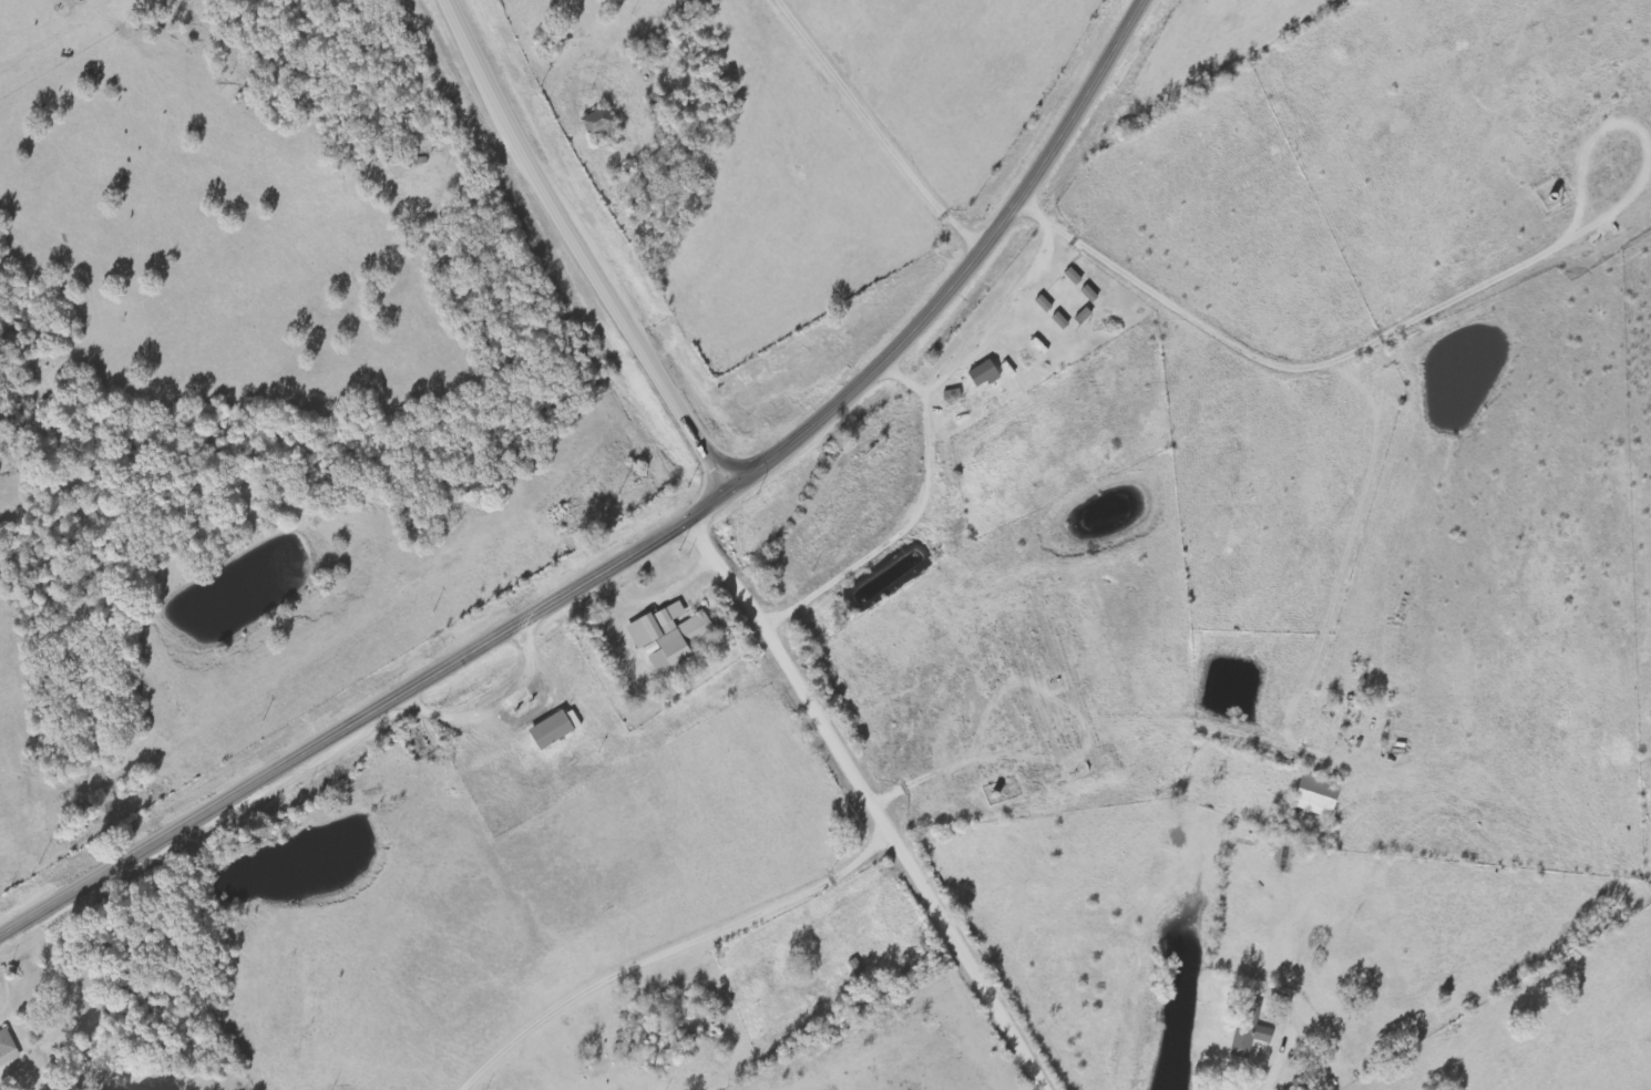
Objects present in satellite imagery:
building: (604, 125)
road: (580, 250)
building: (1071, 277)
building: (1088, 295)
building: (1042, 305)
building: (1081, 317)
building: (1058, 321)
building: (987, 374)
building: (956, 394)
road: (642, 547)
building: (674, 637)
building: (561, 729)
building: (1322, 795)
road: (868, 803)
building: (1252, 1030)
building: (9, 1049)

